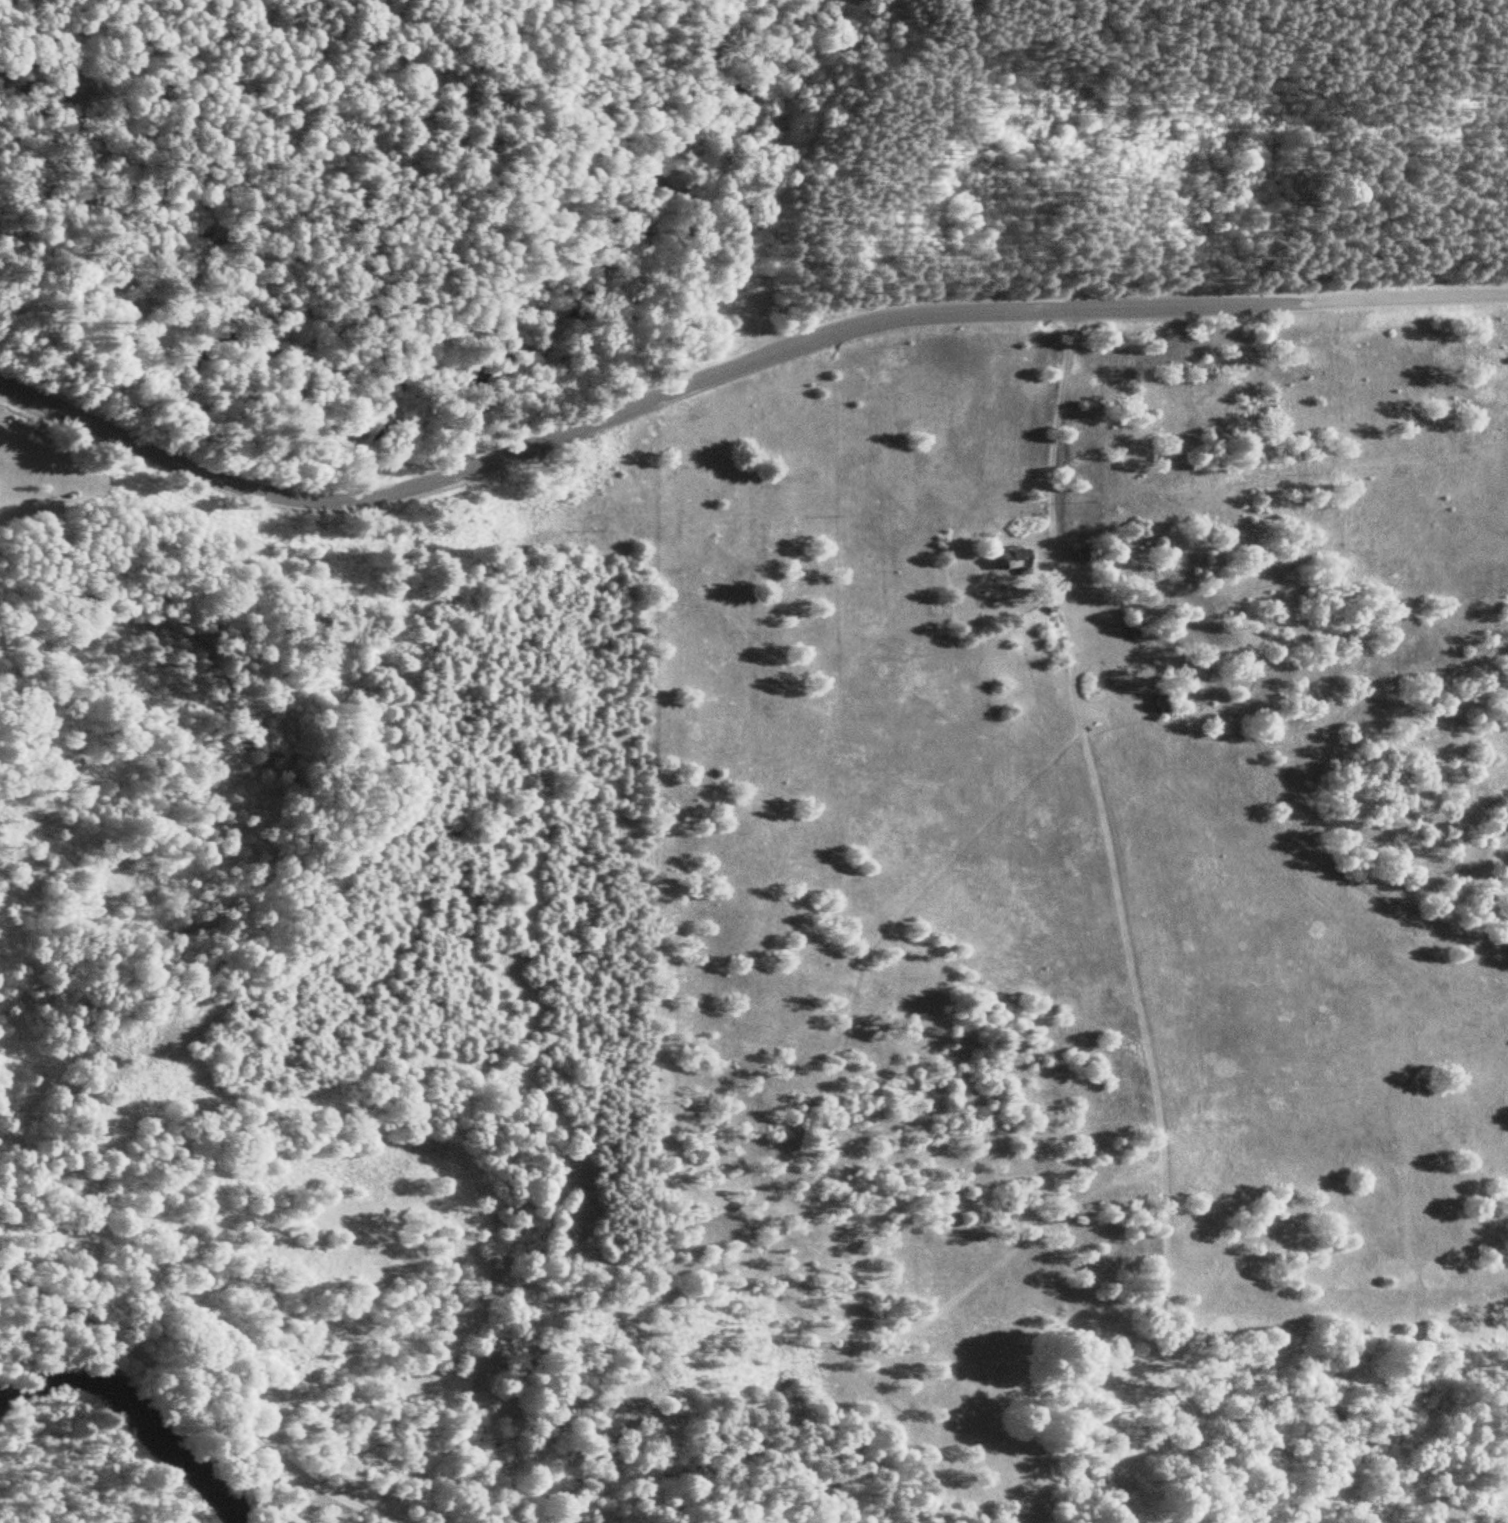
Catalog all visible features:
road: (1410, 298)
road: (642, 403)
road: (1057, 412)
building: (1013, 558)
building: (1164, 702)
road: (200, 1395)
river: (136, 1412)

